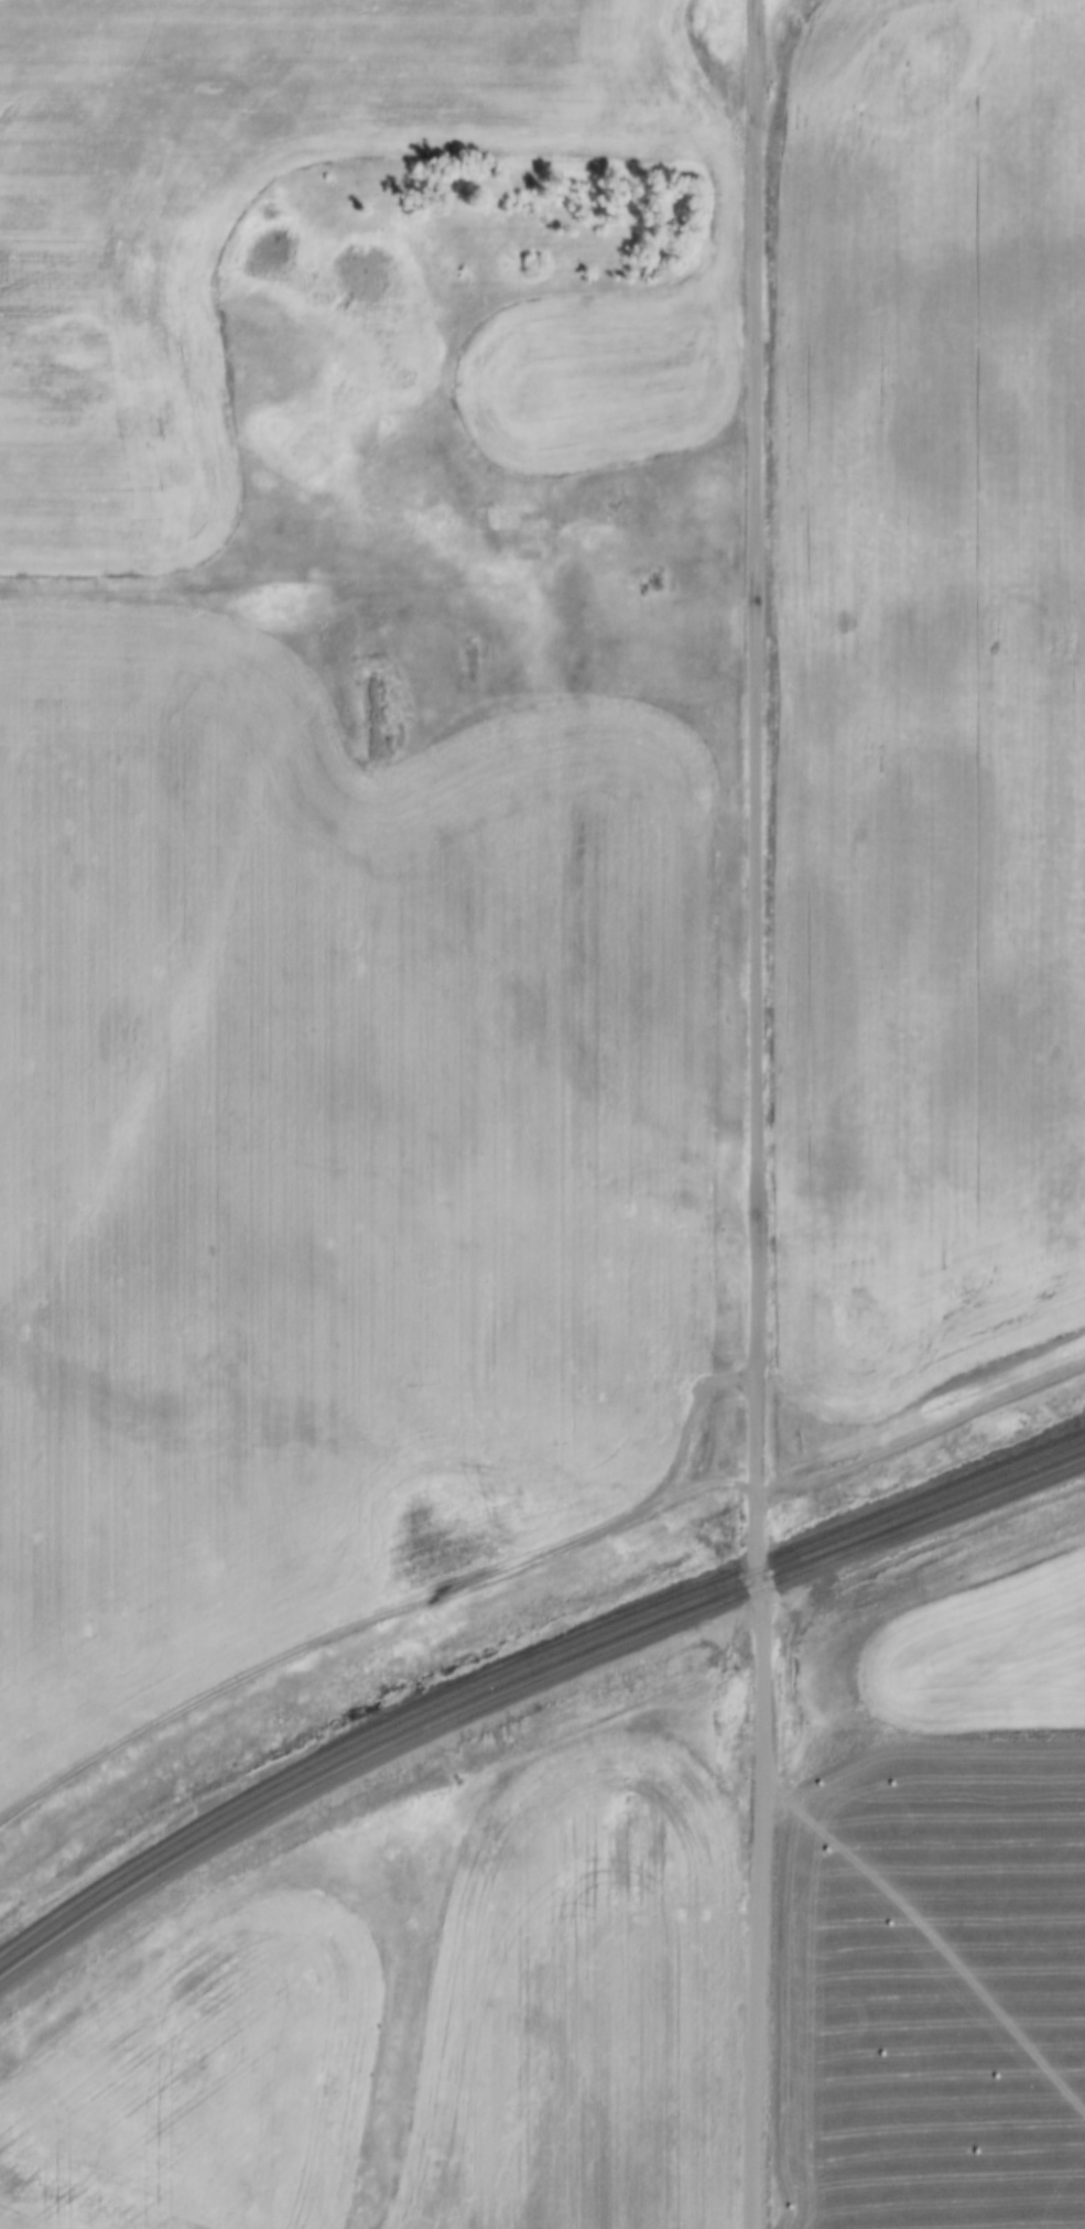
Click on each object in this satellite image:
road: (756, 1114)
road: (397, 1603)
railway: (525, 1668)
railway: (524, 1686)

